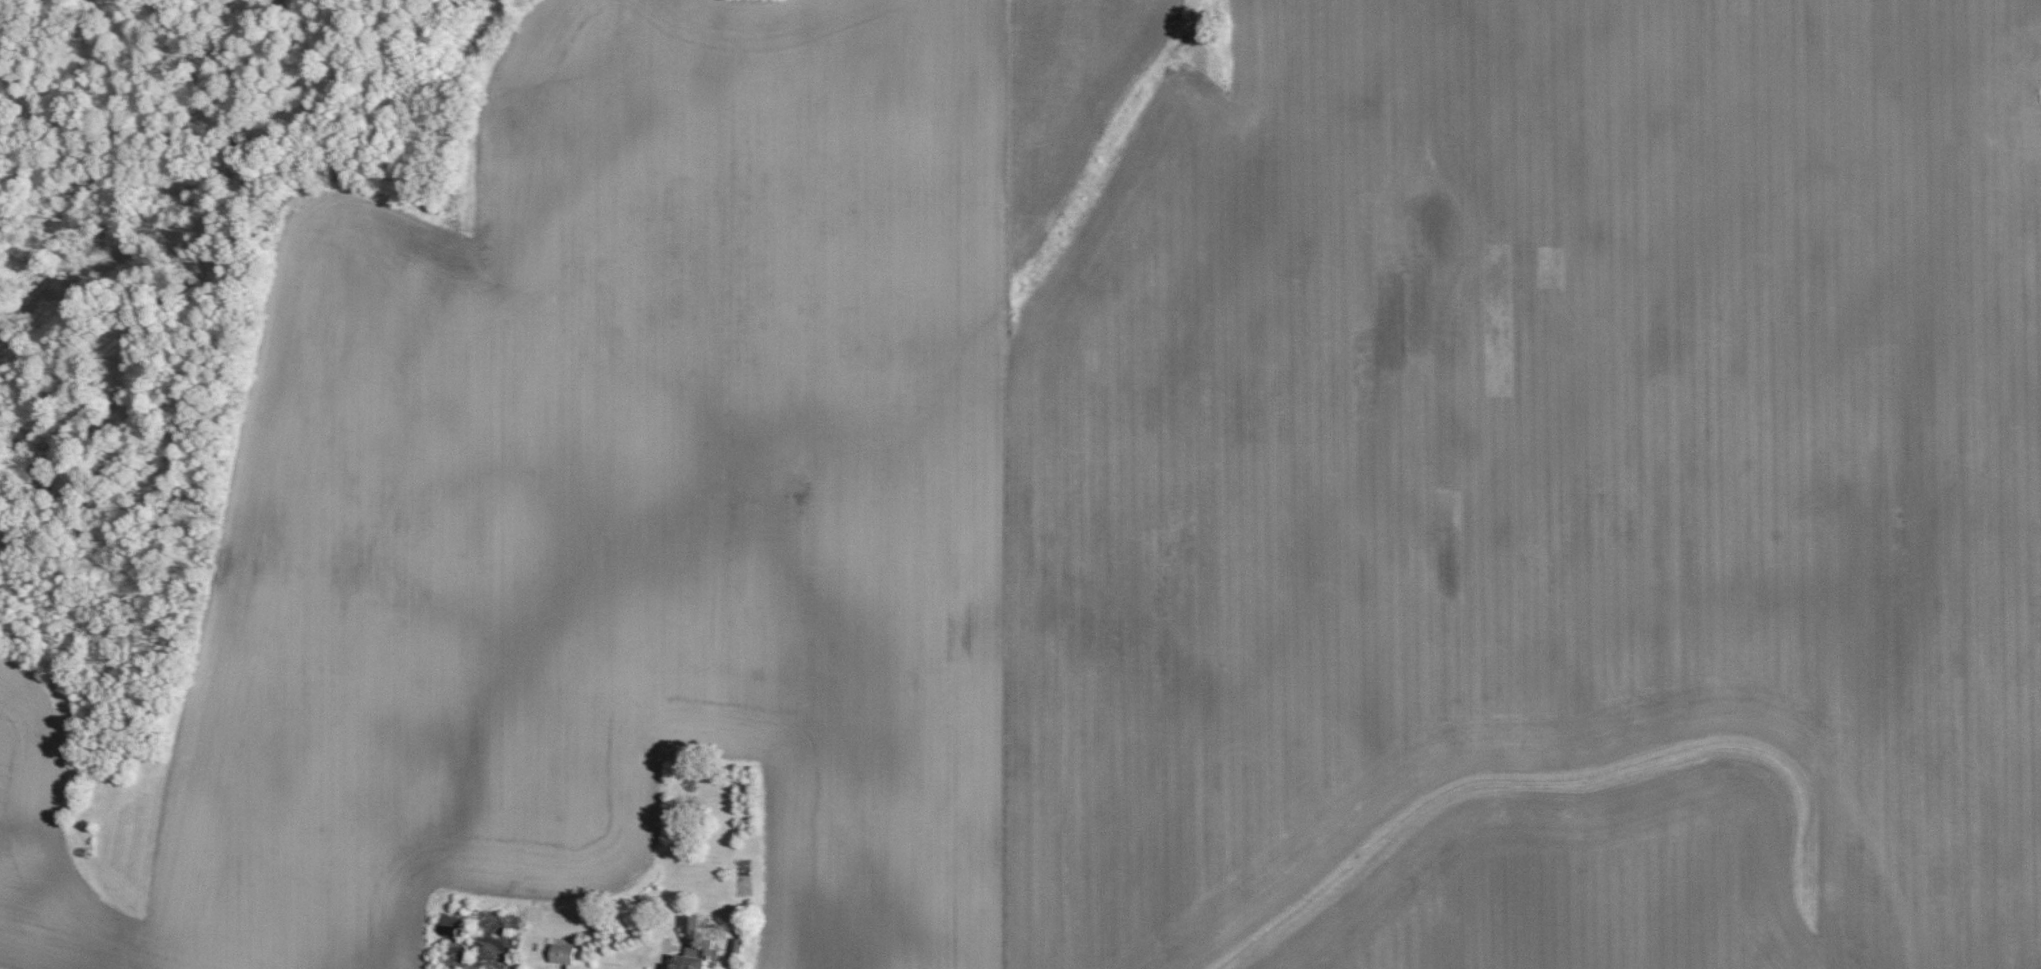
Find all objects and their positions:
building: (687, 924)
building: (559, 953)
building: (691, 956)
road: (660, 960)

